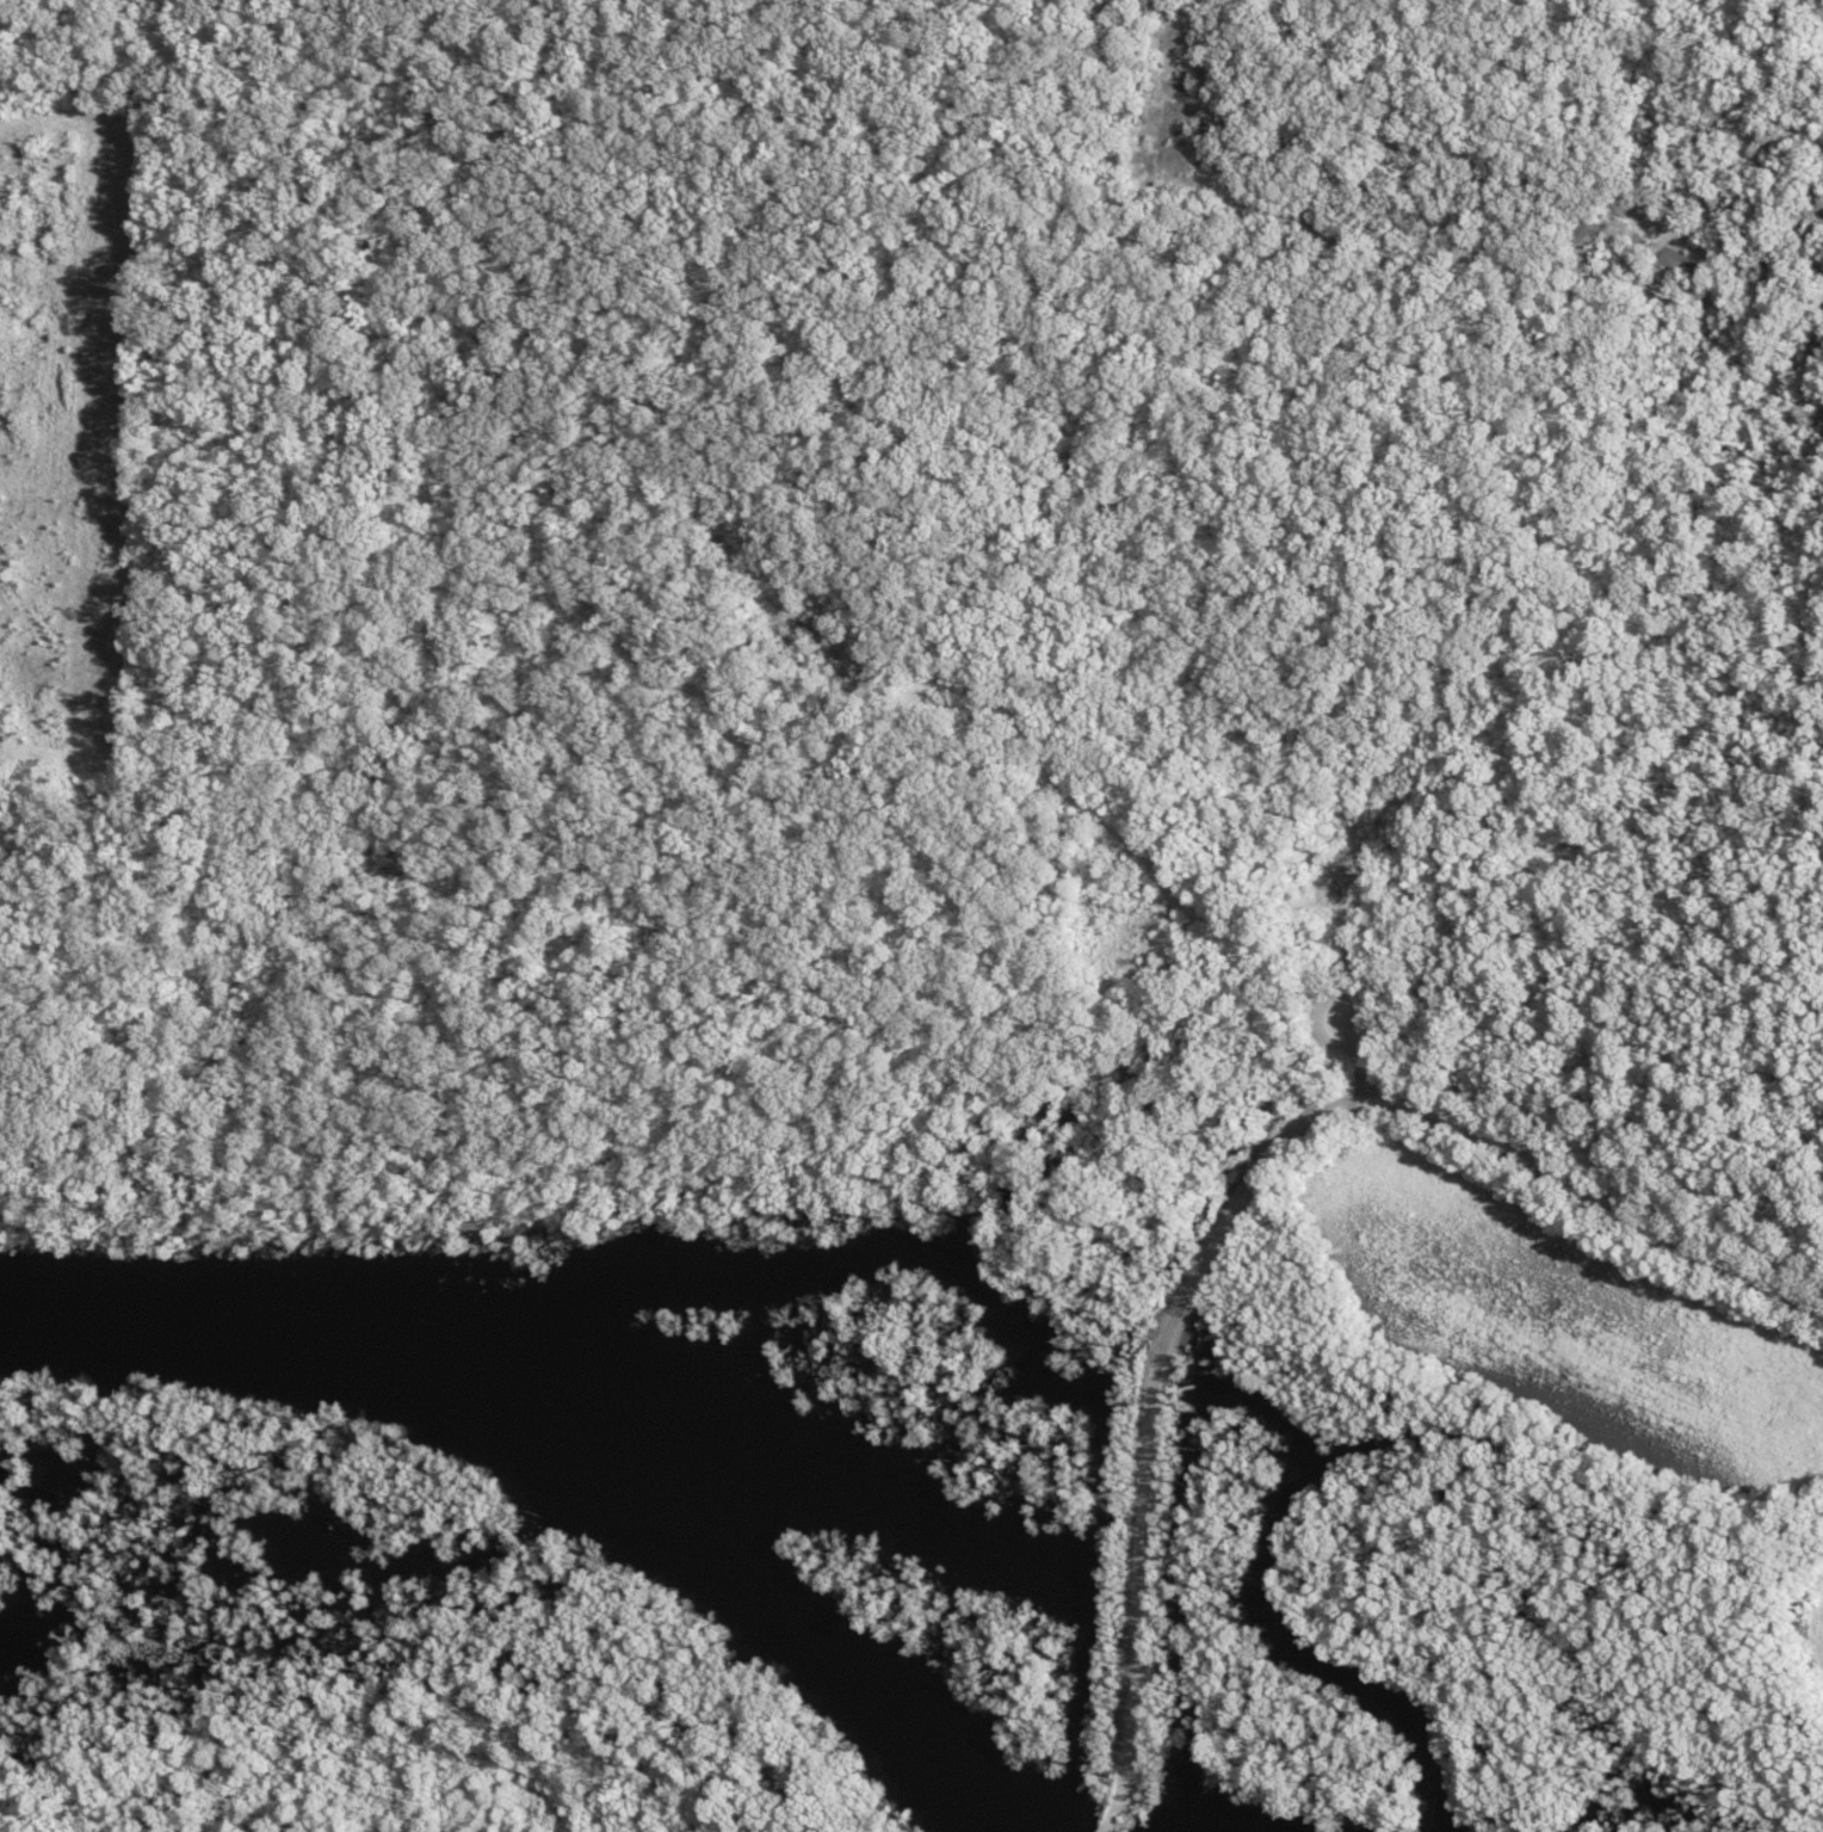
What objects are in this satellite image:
road: (1250, 1191)
river: (566, 1432)
road: (1110, 1827)

